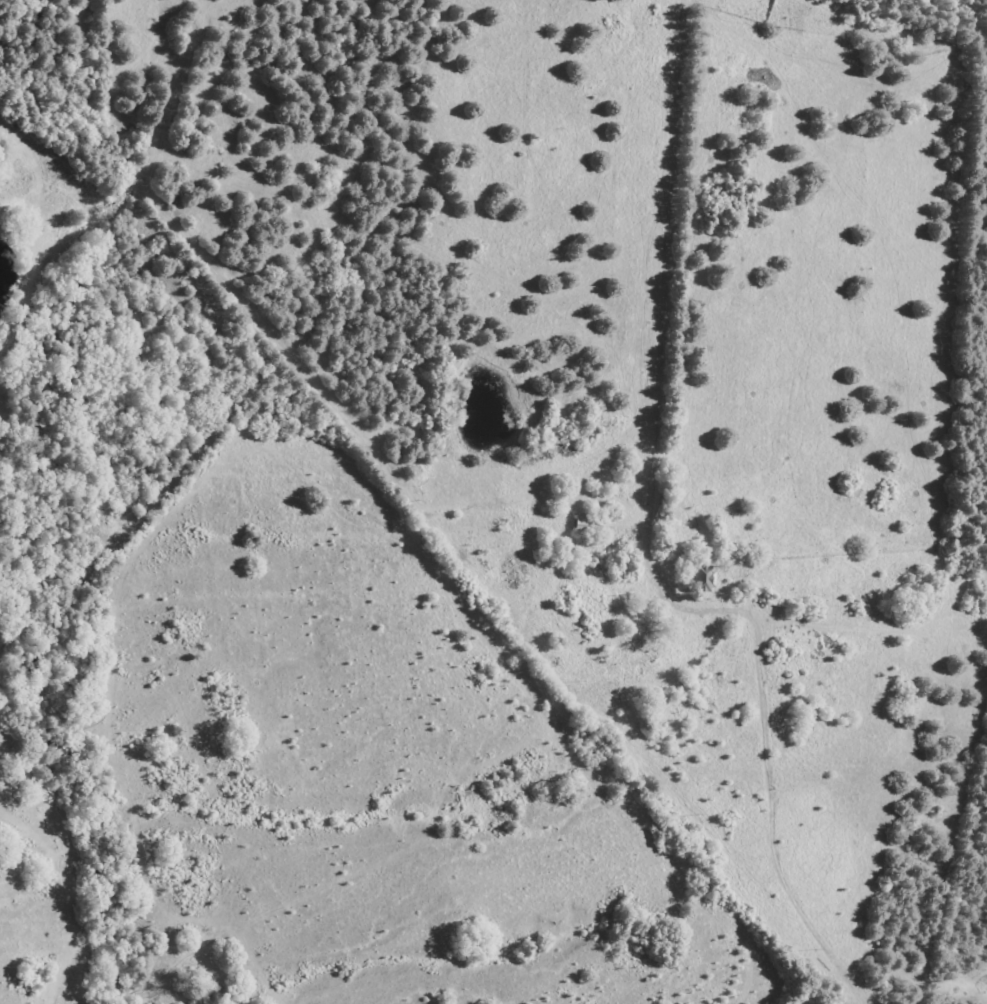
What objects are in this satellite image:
building: (585, 528)
road: (643, 544)
building: (694, 580)

